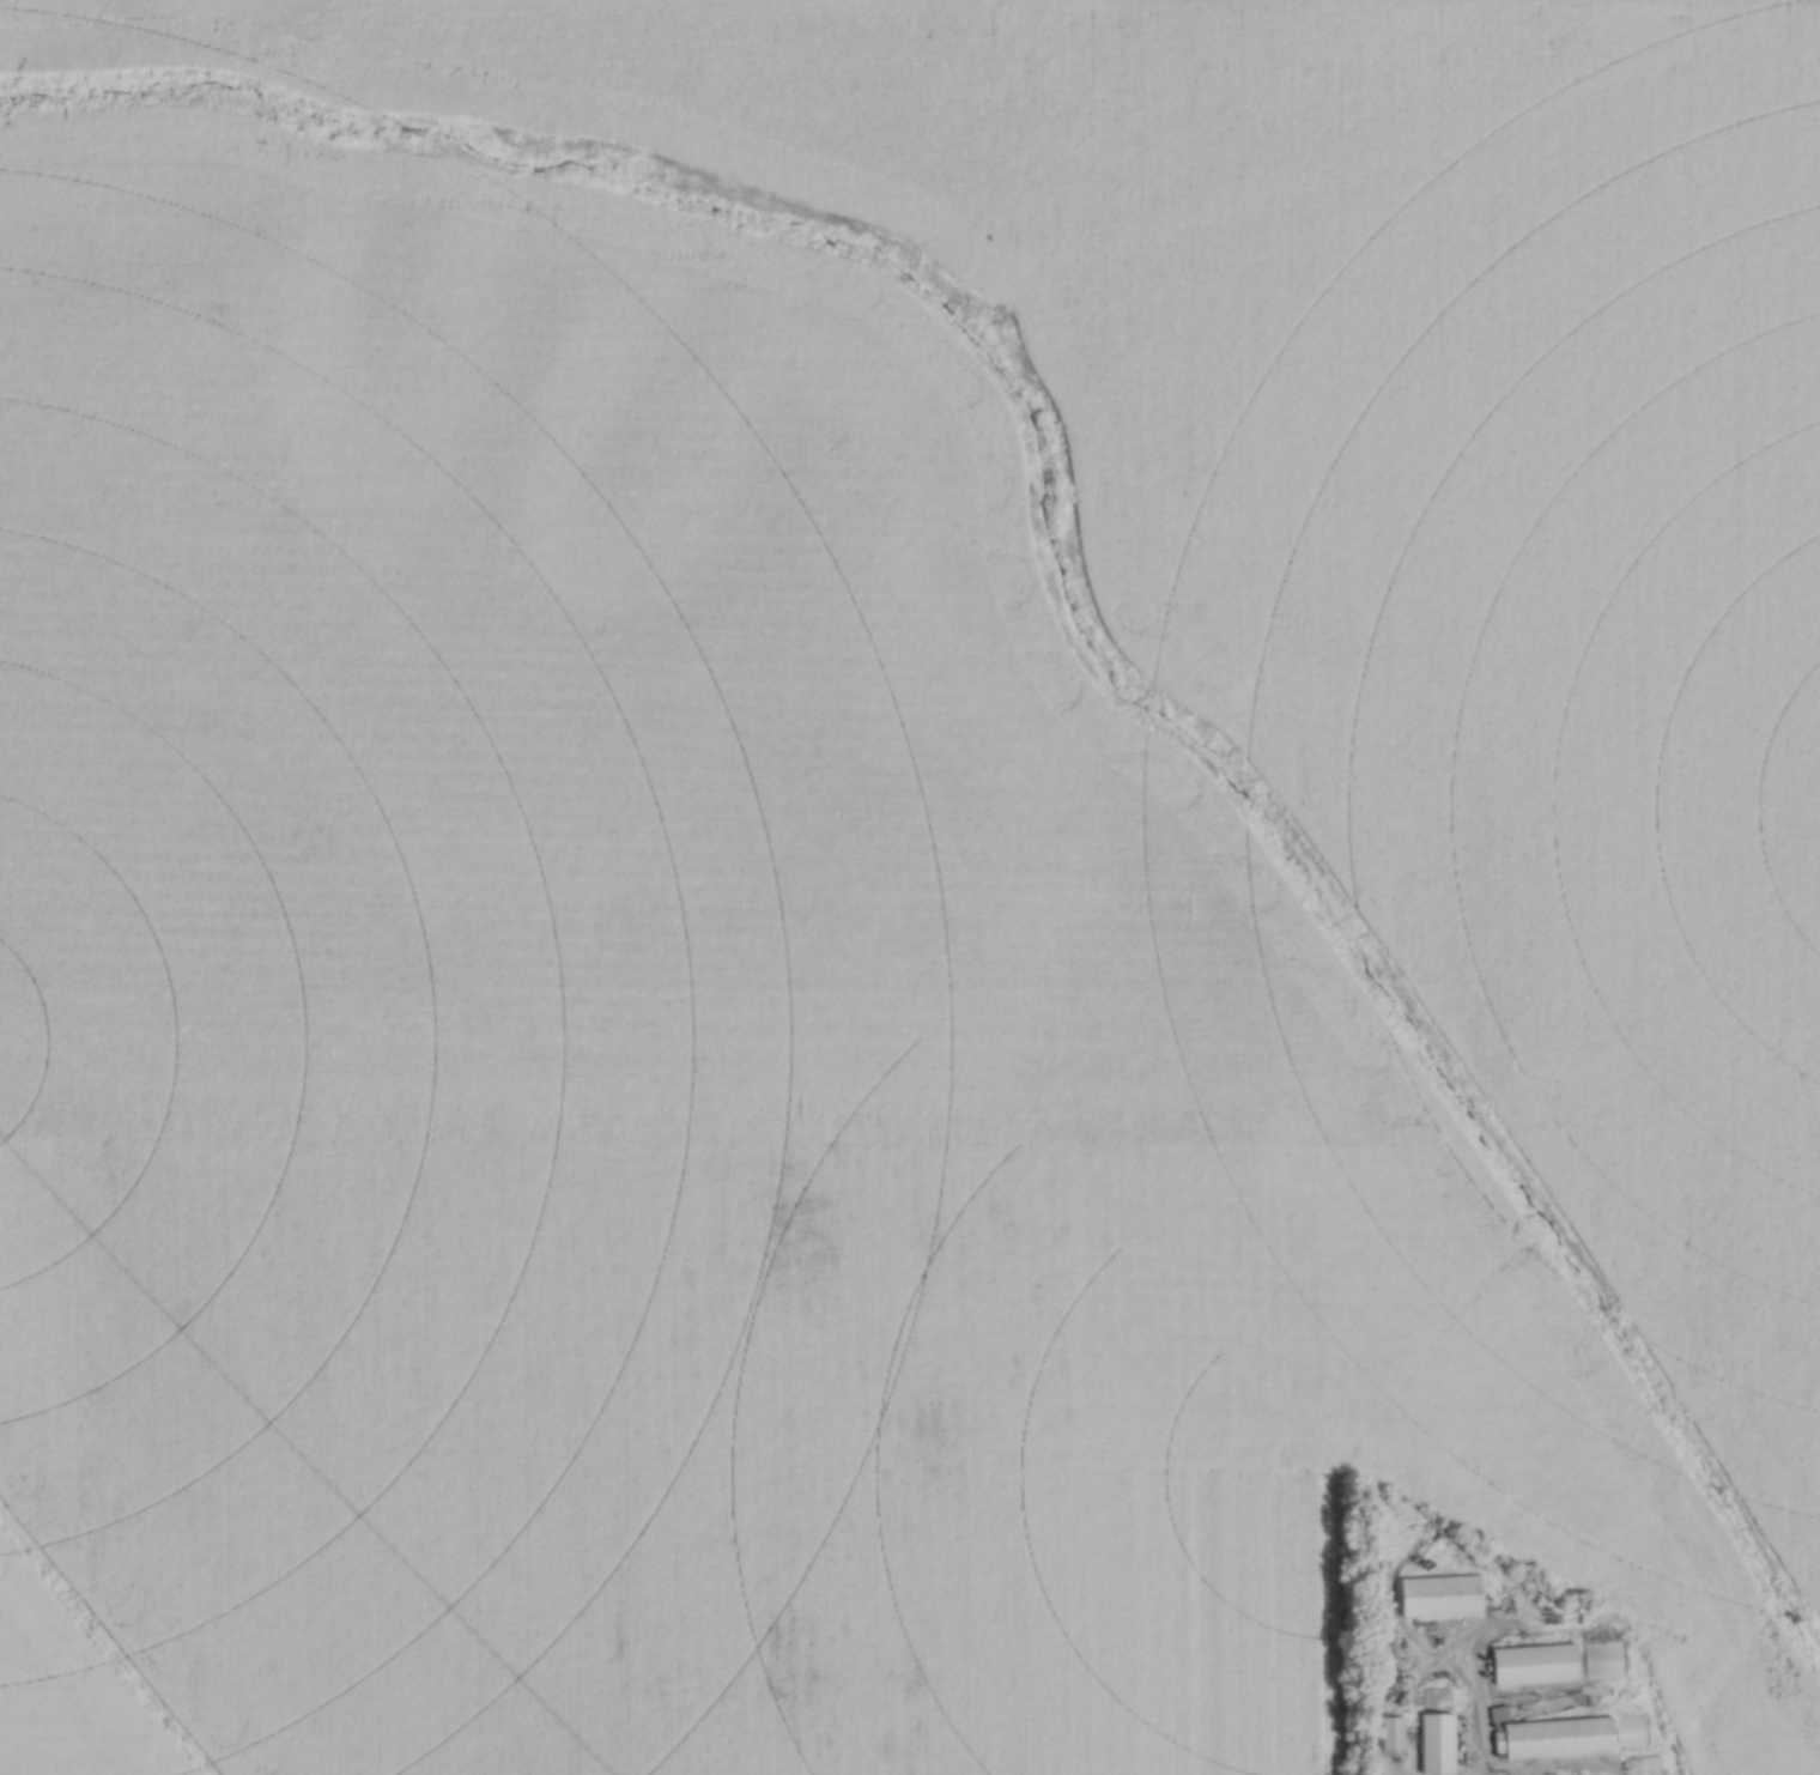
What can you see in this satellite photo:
building: (1455, 1597)
building: (1587, 1641)
building: (1551, 1664)
building: (1496, 1668)
building: (1542, 1685)
building: (1575, 1740)
building: (1448, 1744)

